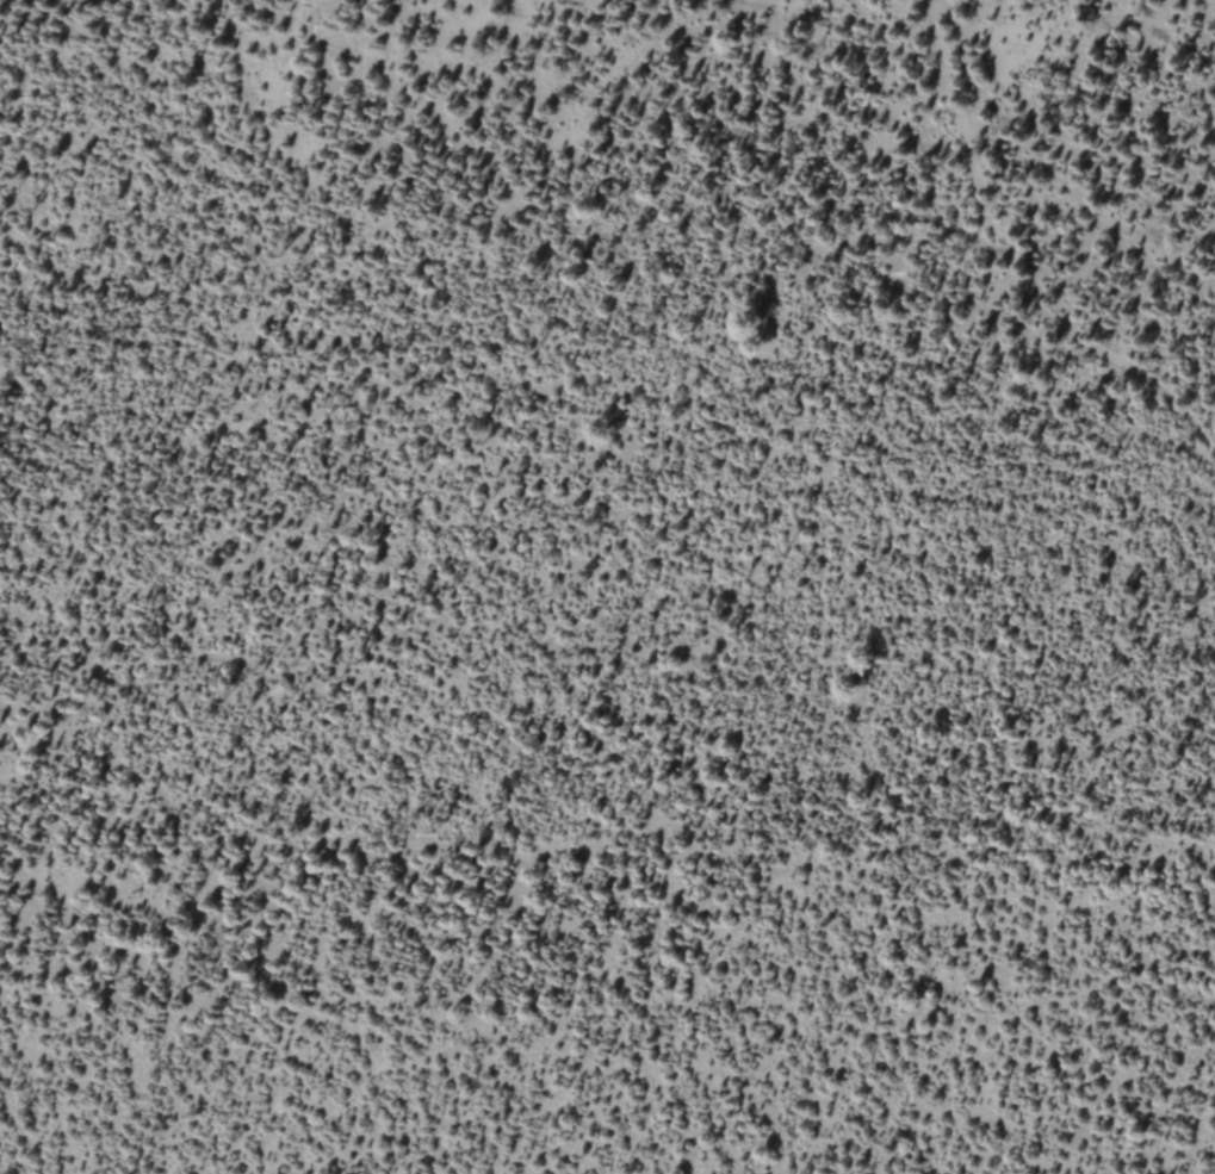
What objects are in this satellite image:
road: (1039, 266)

